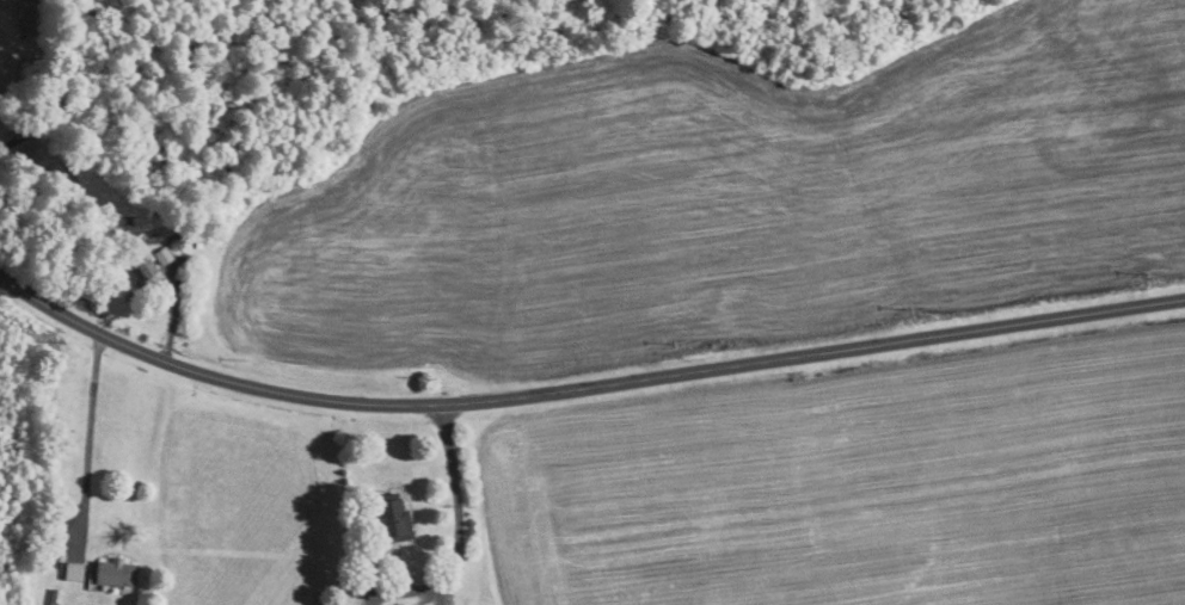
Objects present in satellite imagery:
building: (162, 255)
building: (147, 270)
road: (582, 388)
road: (93, 432)
road: (456, 494)
building: (392, 517)
building: (115, 573)
road: (406, 592)
road: (443, 593)

